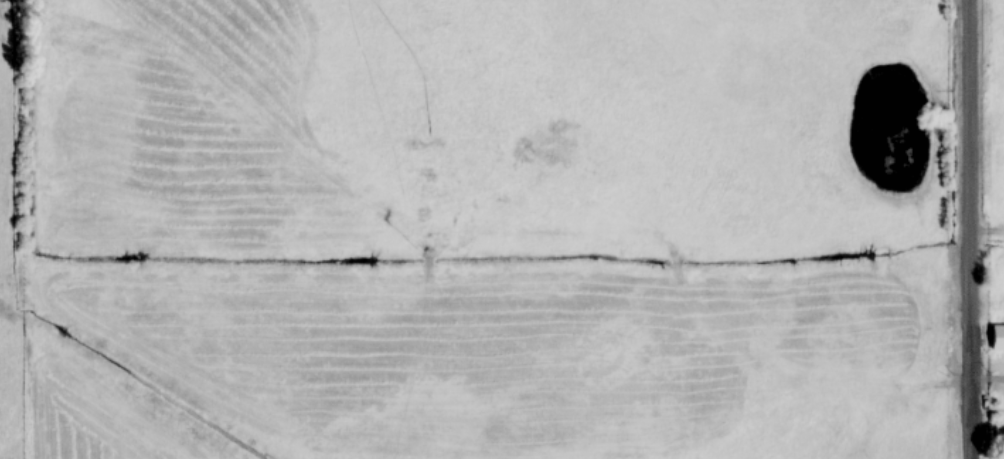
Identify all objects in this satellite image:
road: (976, 229)

